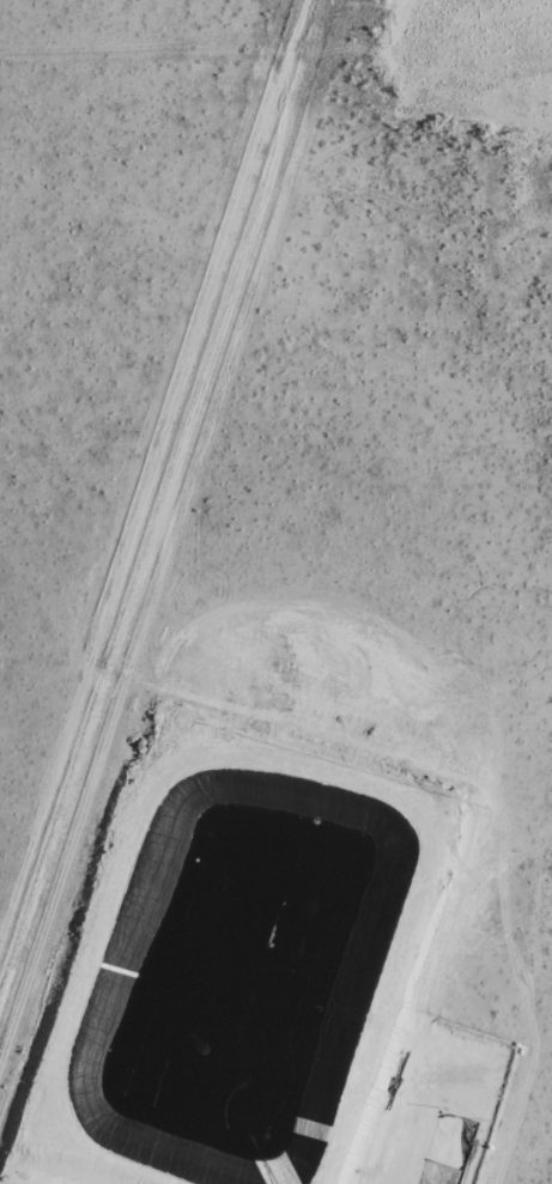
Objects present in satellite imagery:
road: (392, 1038)

